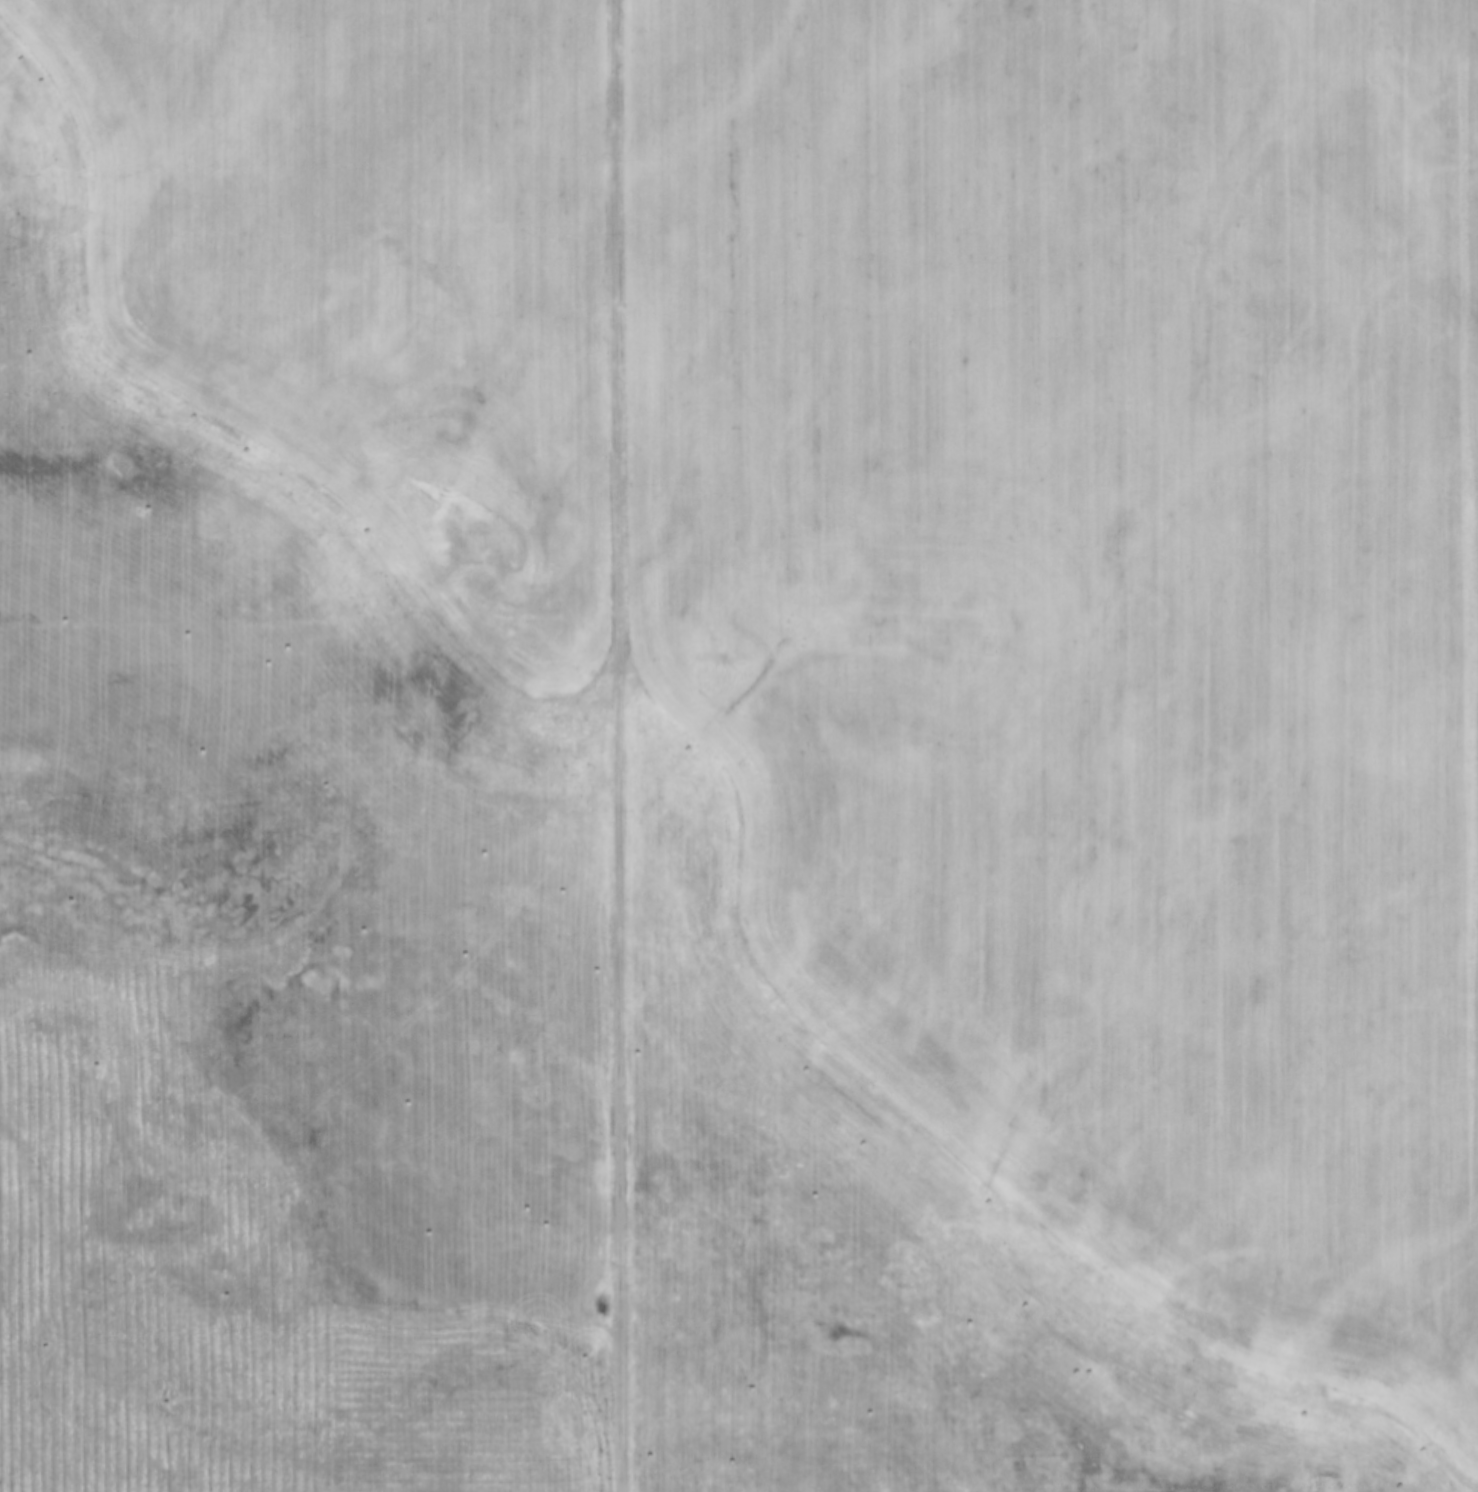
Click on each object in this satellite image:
road: (619, 746)

